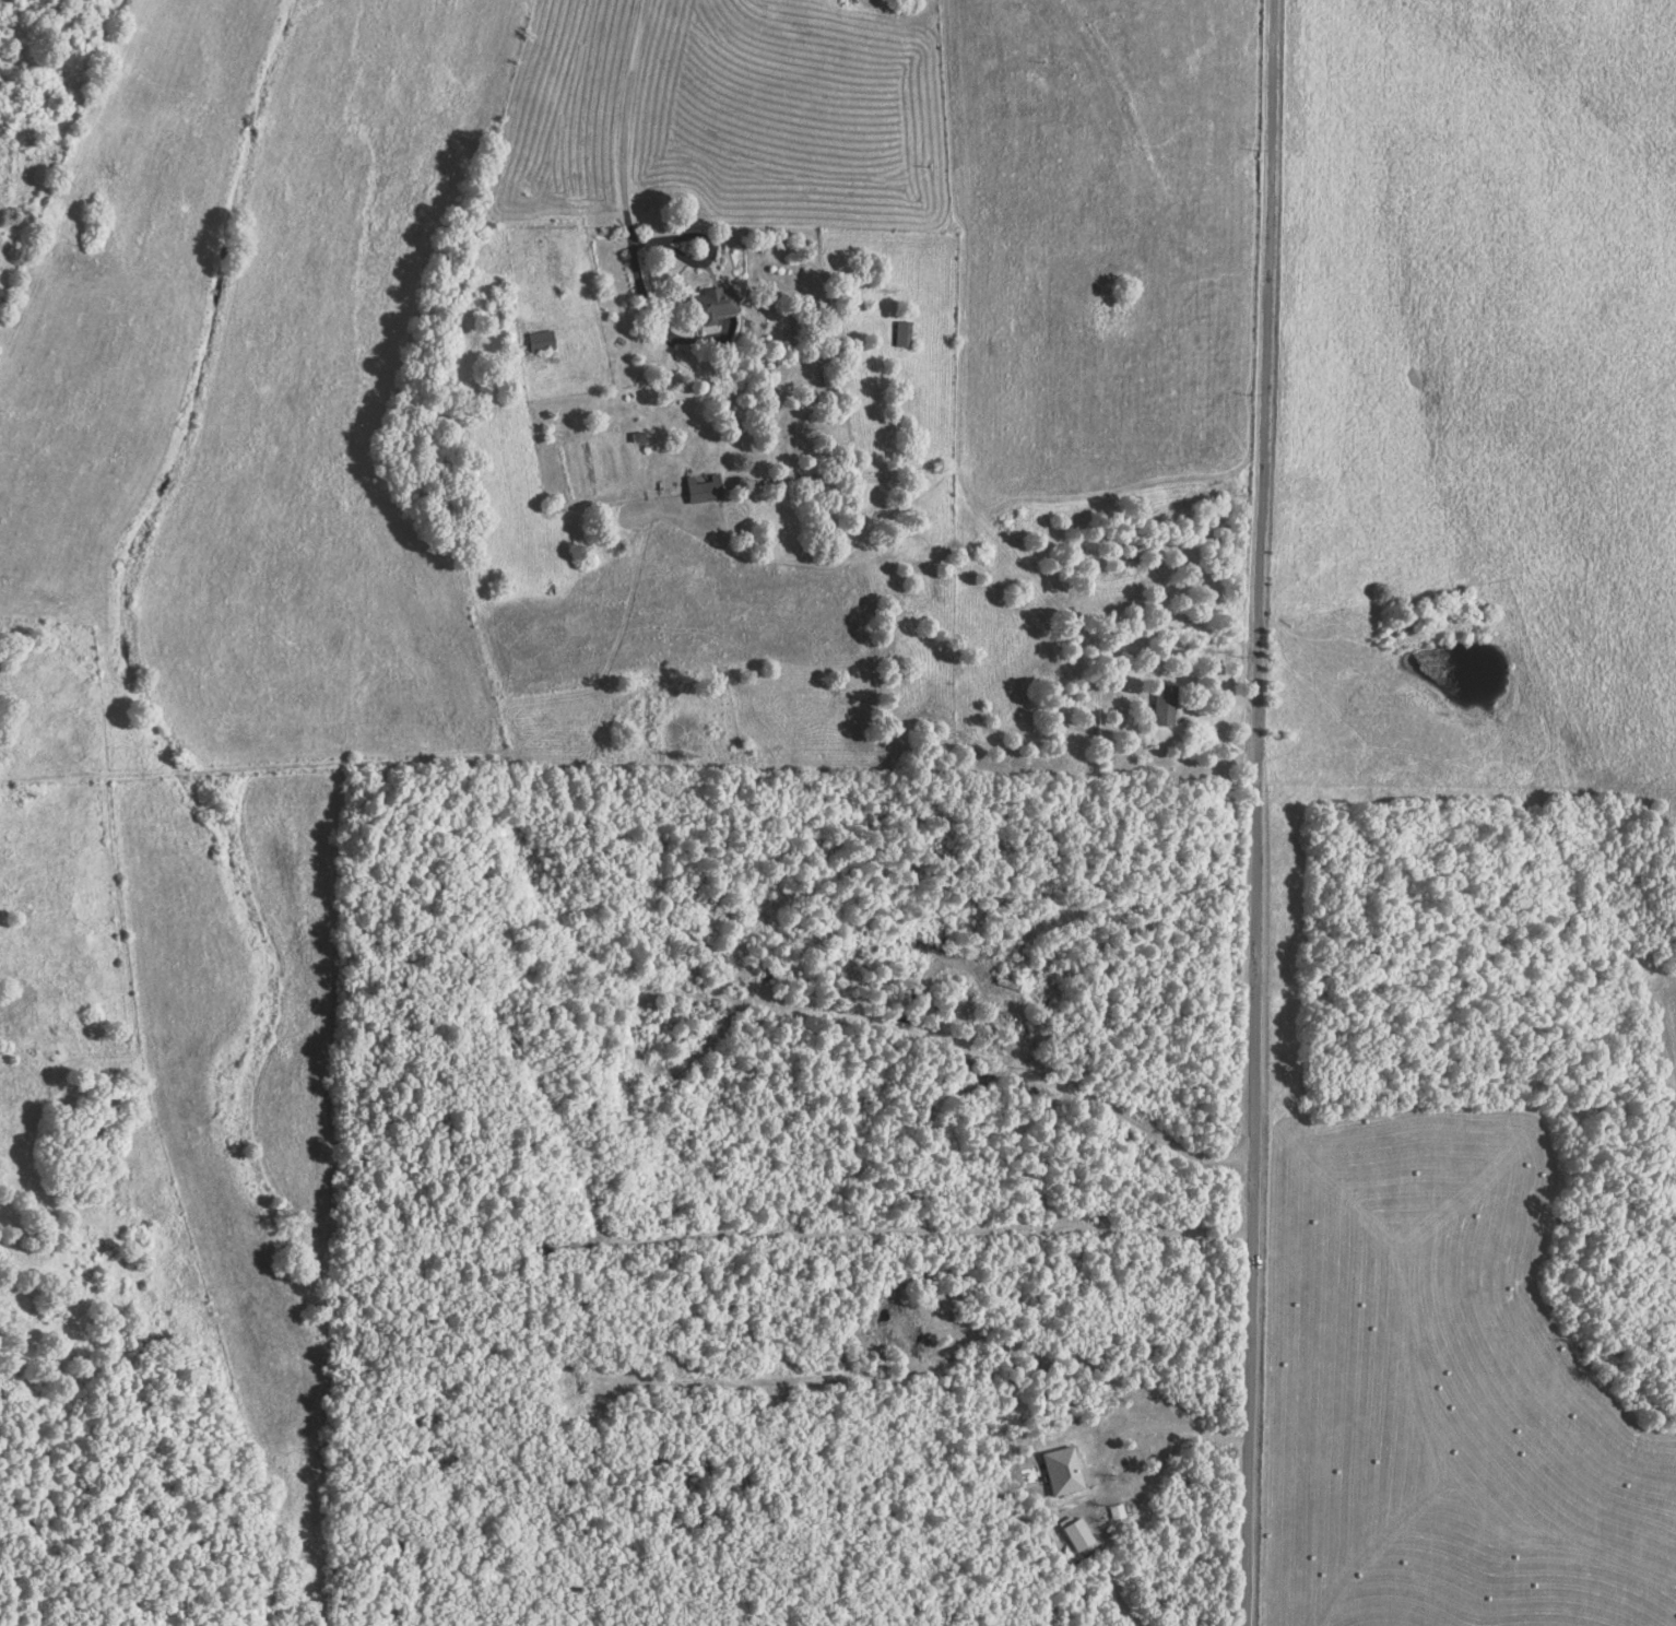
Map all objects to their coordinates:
road: (621, 173)
building: (713, 304)
building: (902, 332)
building: (705, 490)
building: (1166, 704)
road: (1255, 812)
road: (1108, 1441)
building: (1062, 1471)
building: (1075, 1534)

